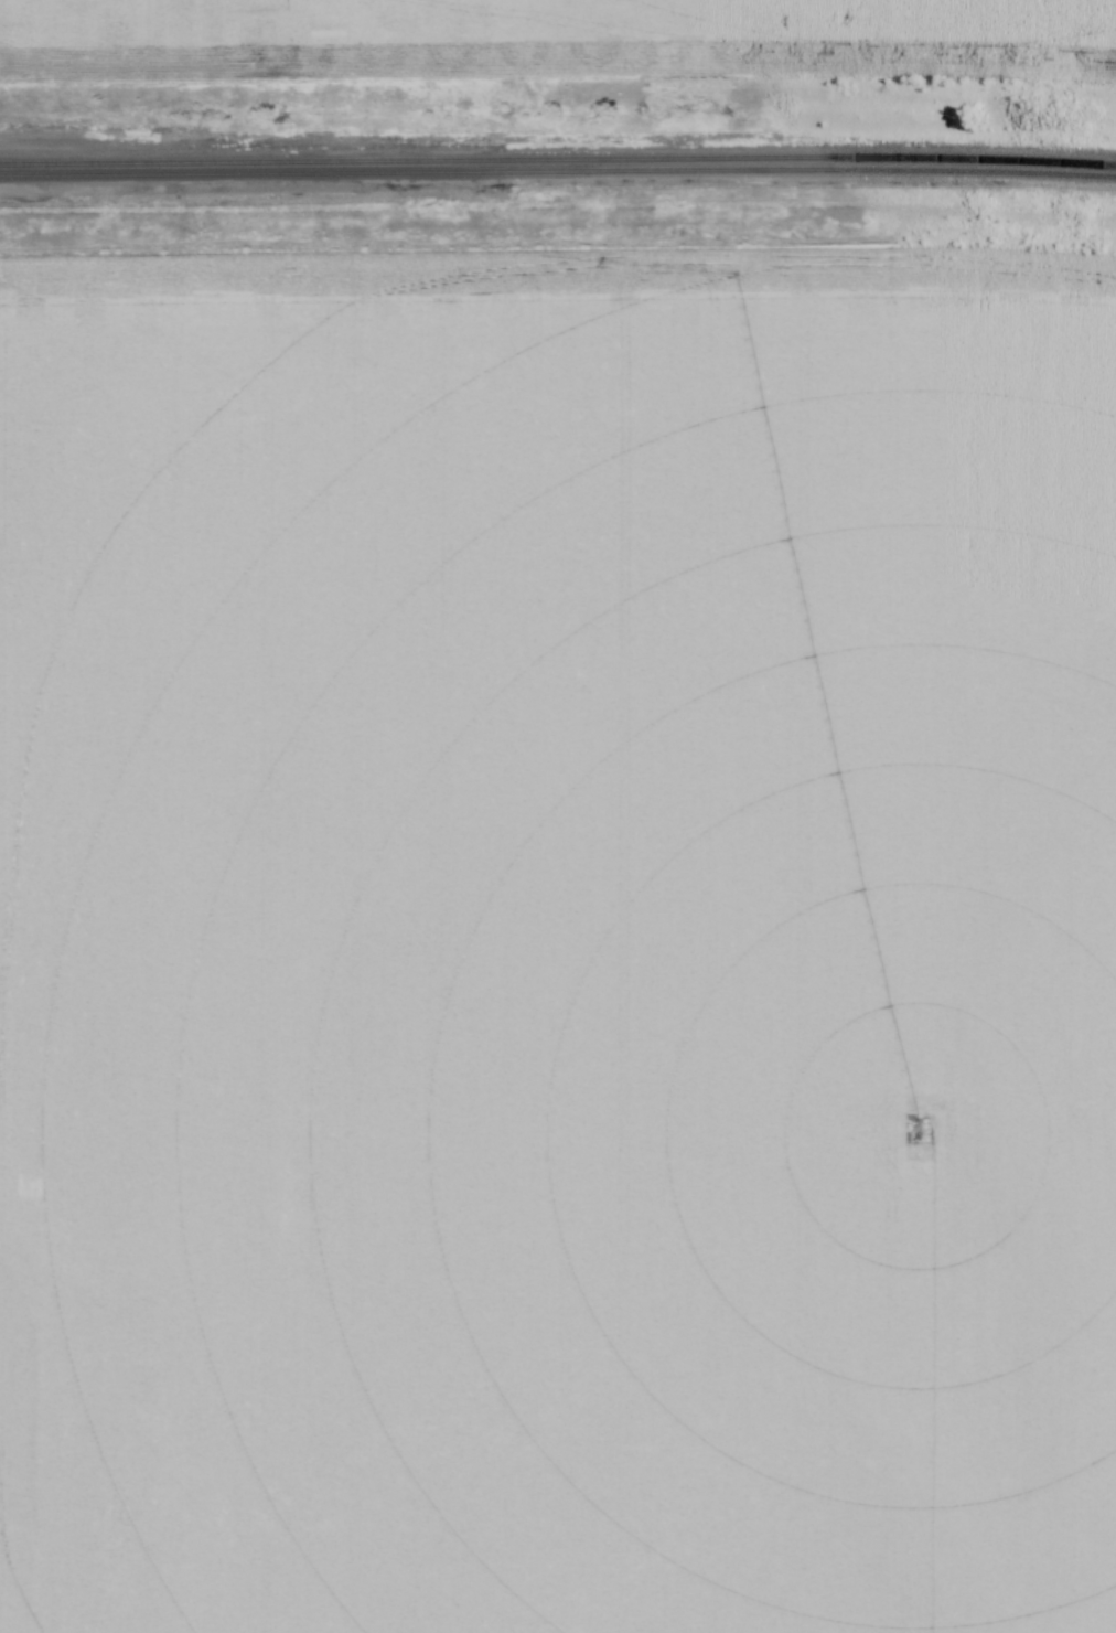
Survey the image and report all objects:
railway: (558, 160)
railway: (558, 172)

